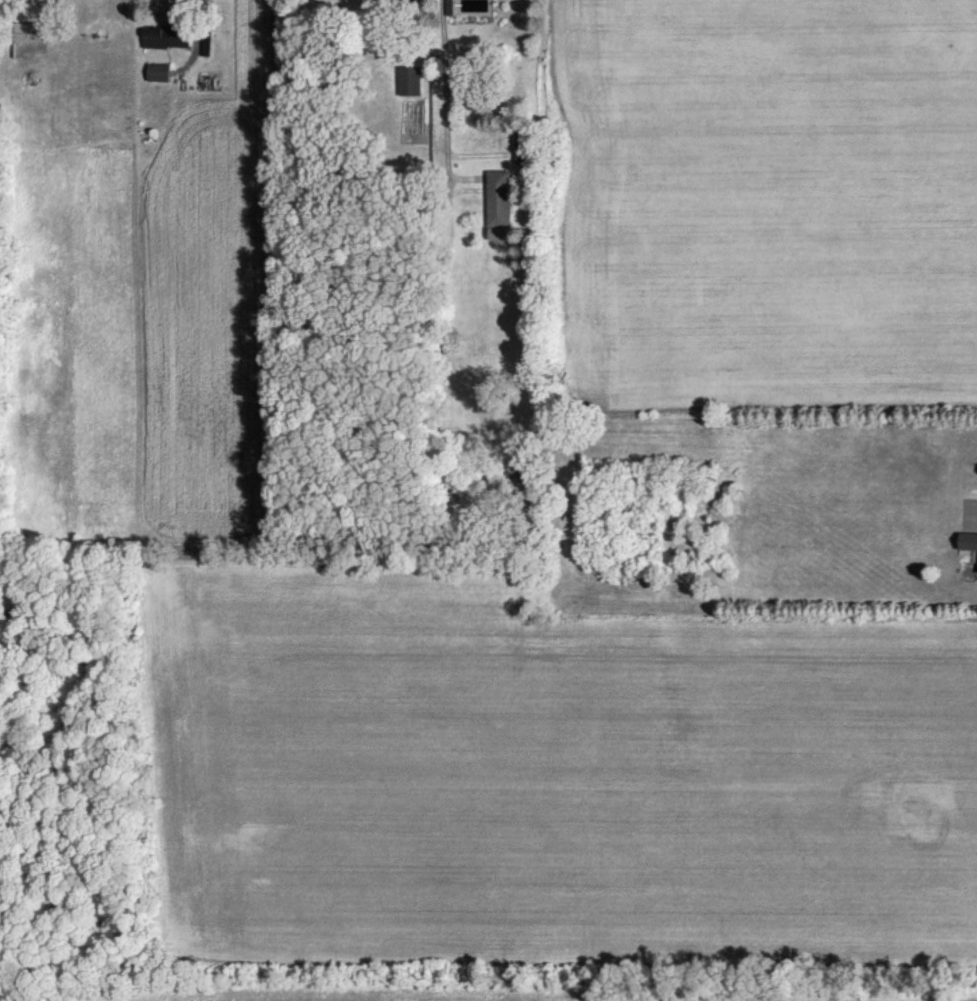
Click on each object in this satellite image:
road: (175, 12)
building: (26, 34)
building: (165, 36)
building: (206, 42)
building: (158, 71)
building: (408, 81)
building: (519, 146)
building: (496, 204)
building: (967, 541)

